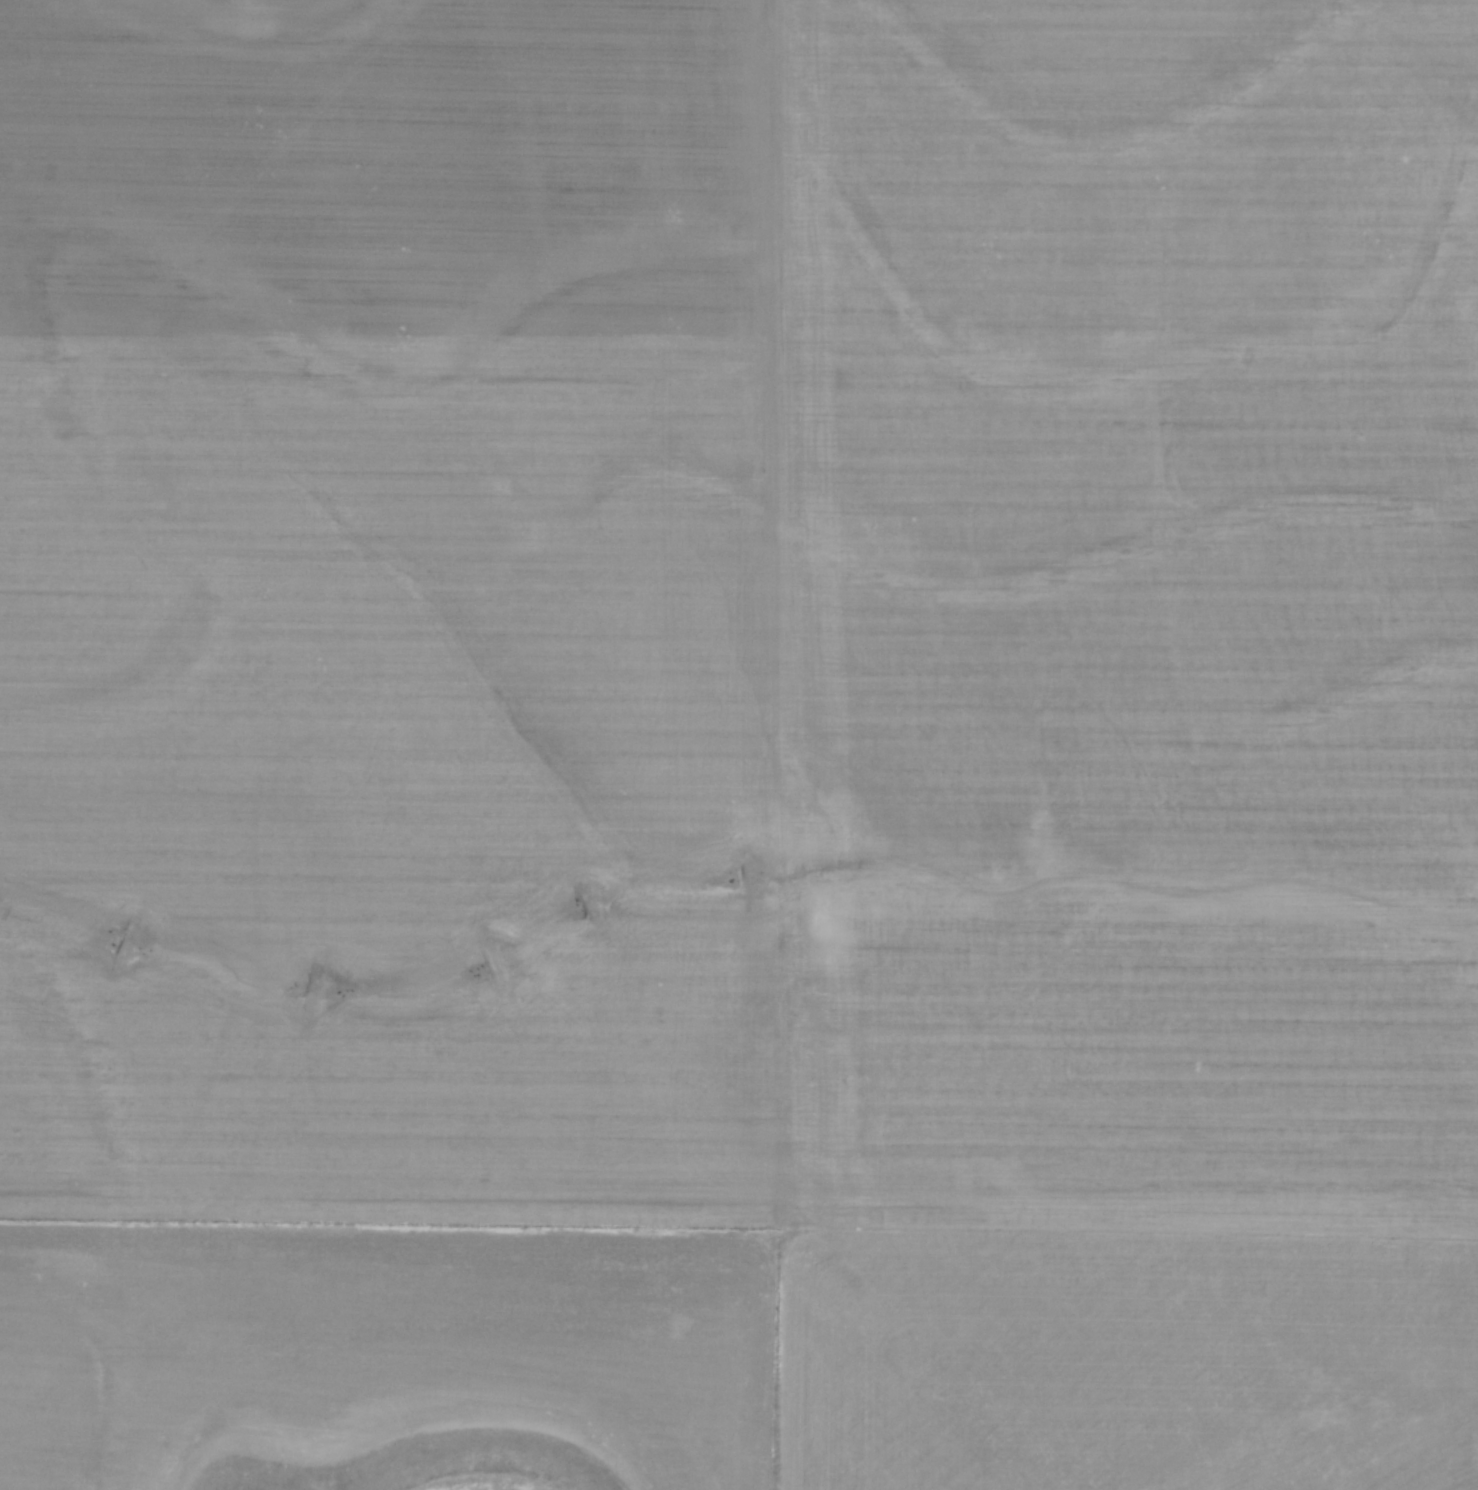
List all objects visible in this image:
crop: (739, 745)

